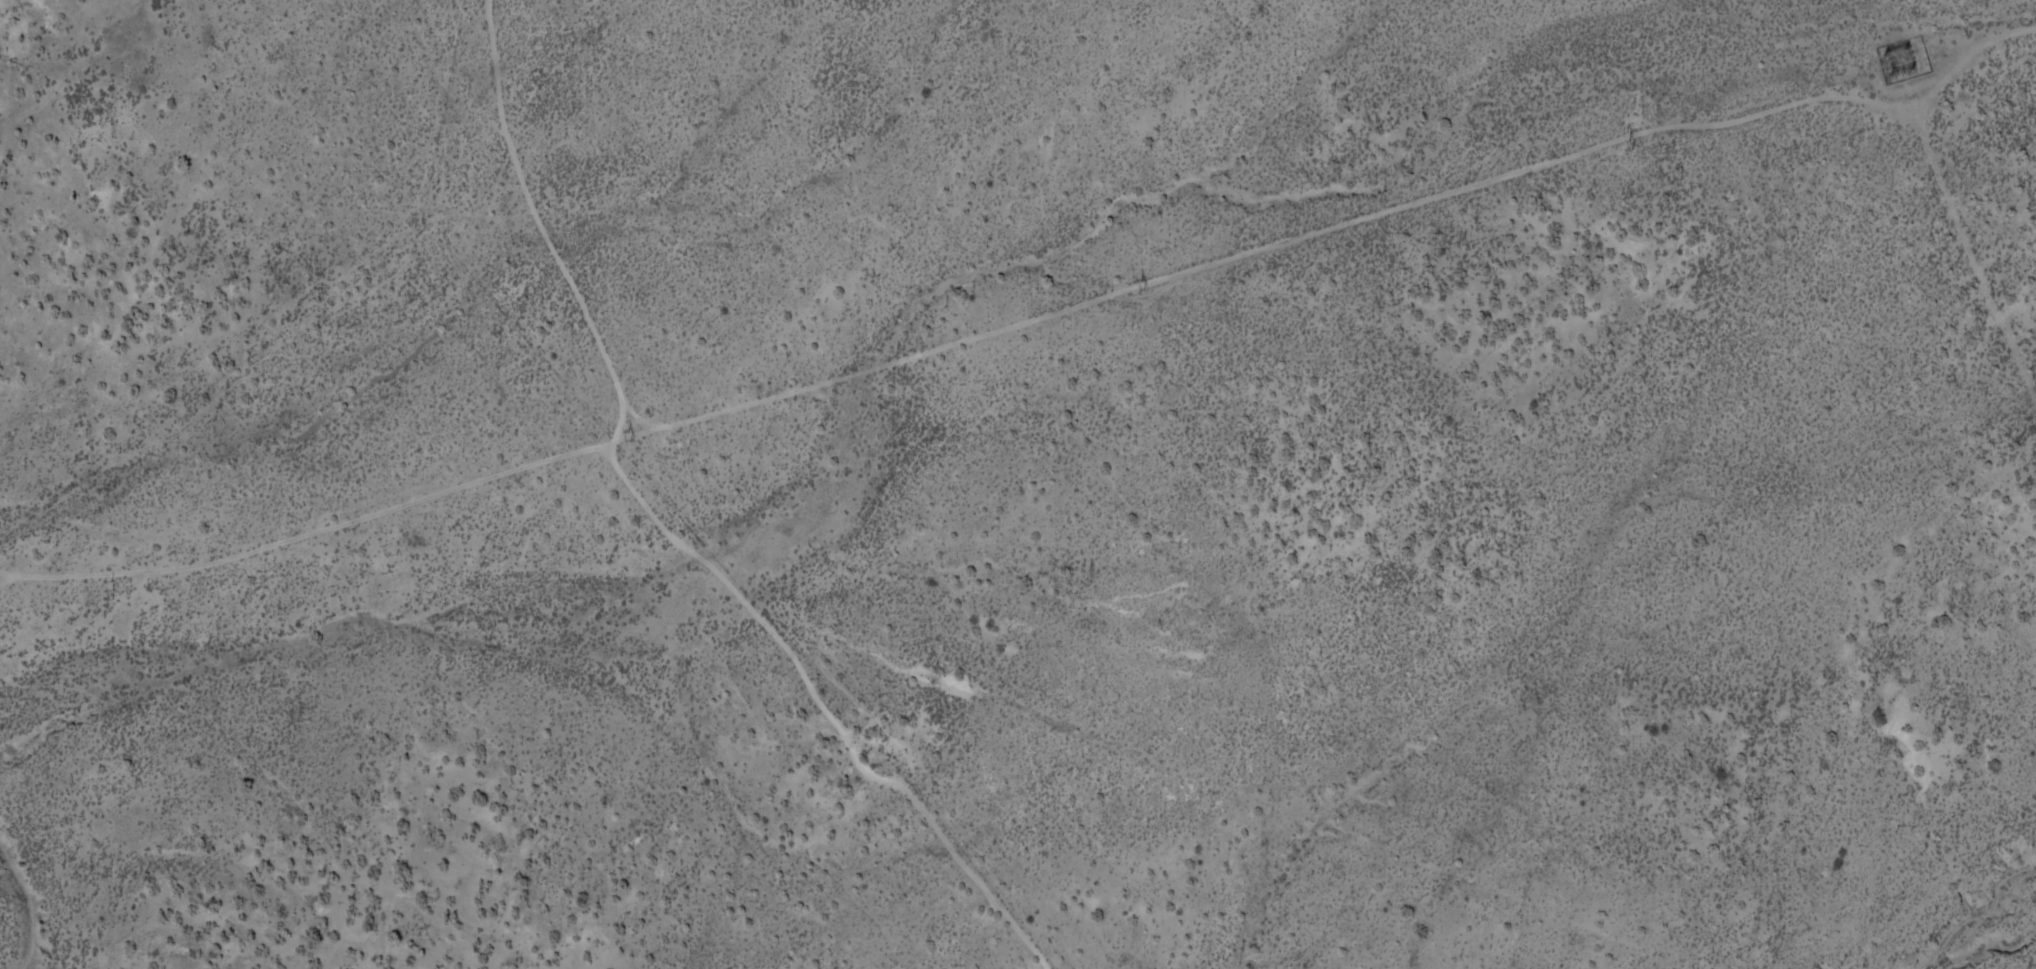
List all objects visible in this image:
power tower: (1901, 57)
power tower: (1628, 138)
power tower: (1143, 283)
power tower: (629, 436)
power tower: (110, 592)

